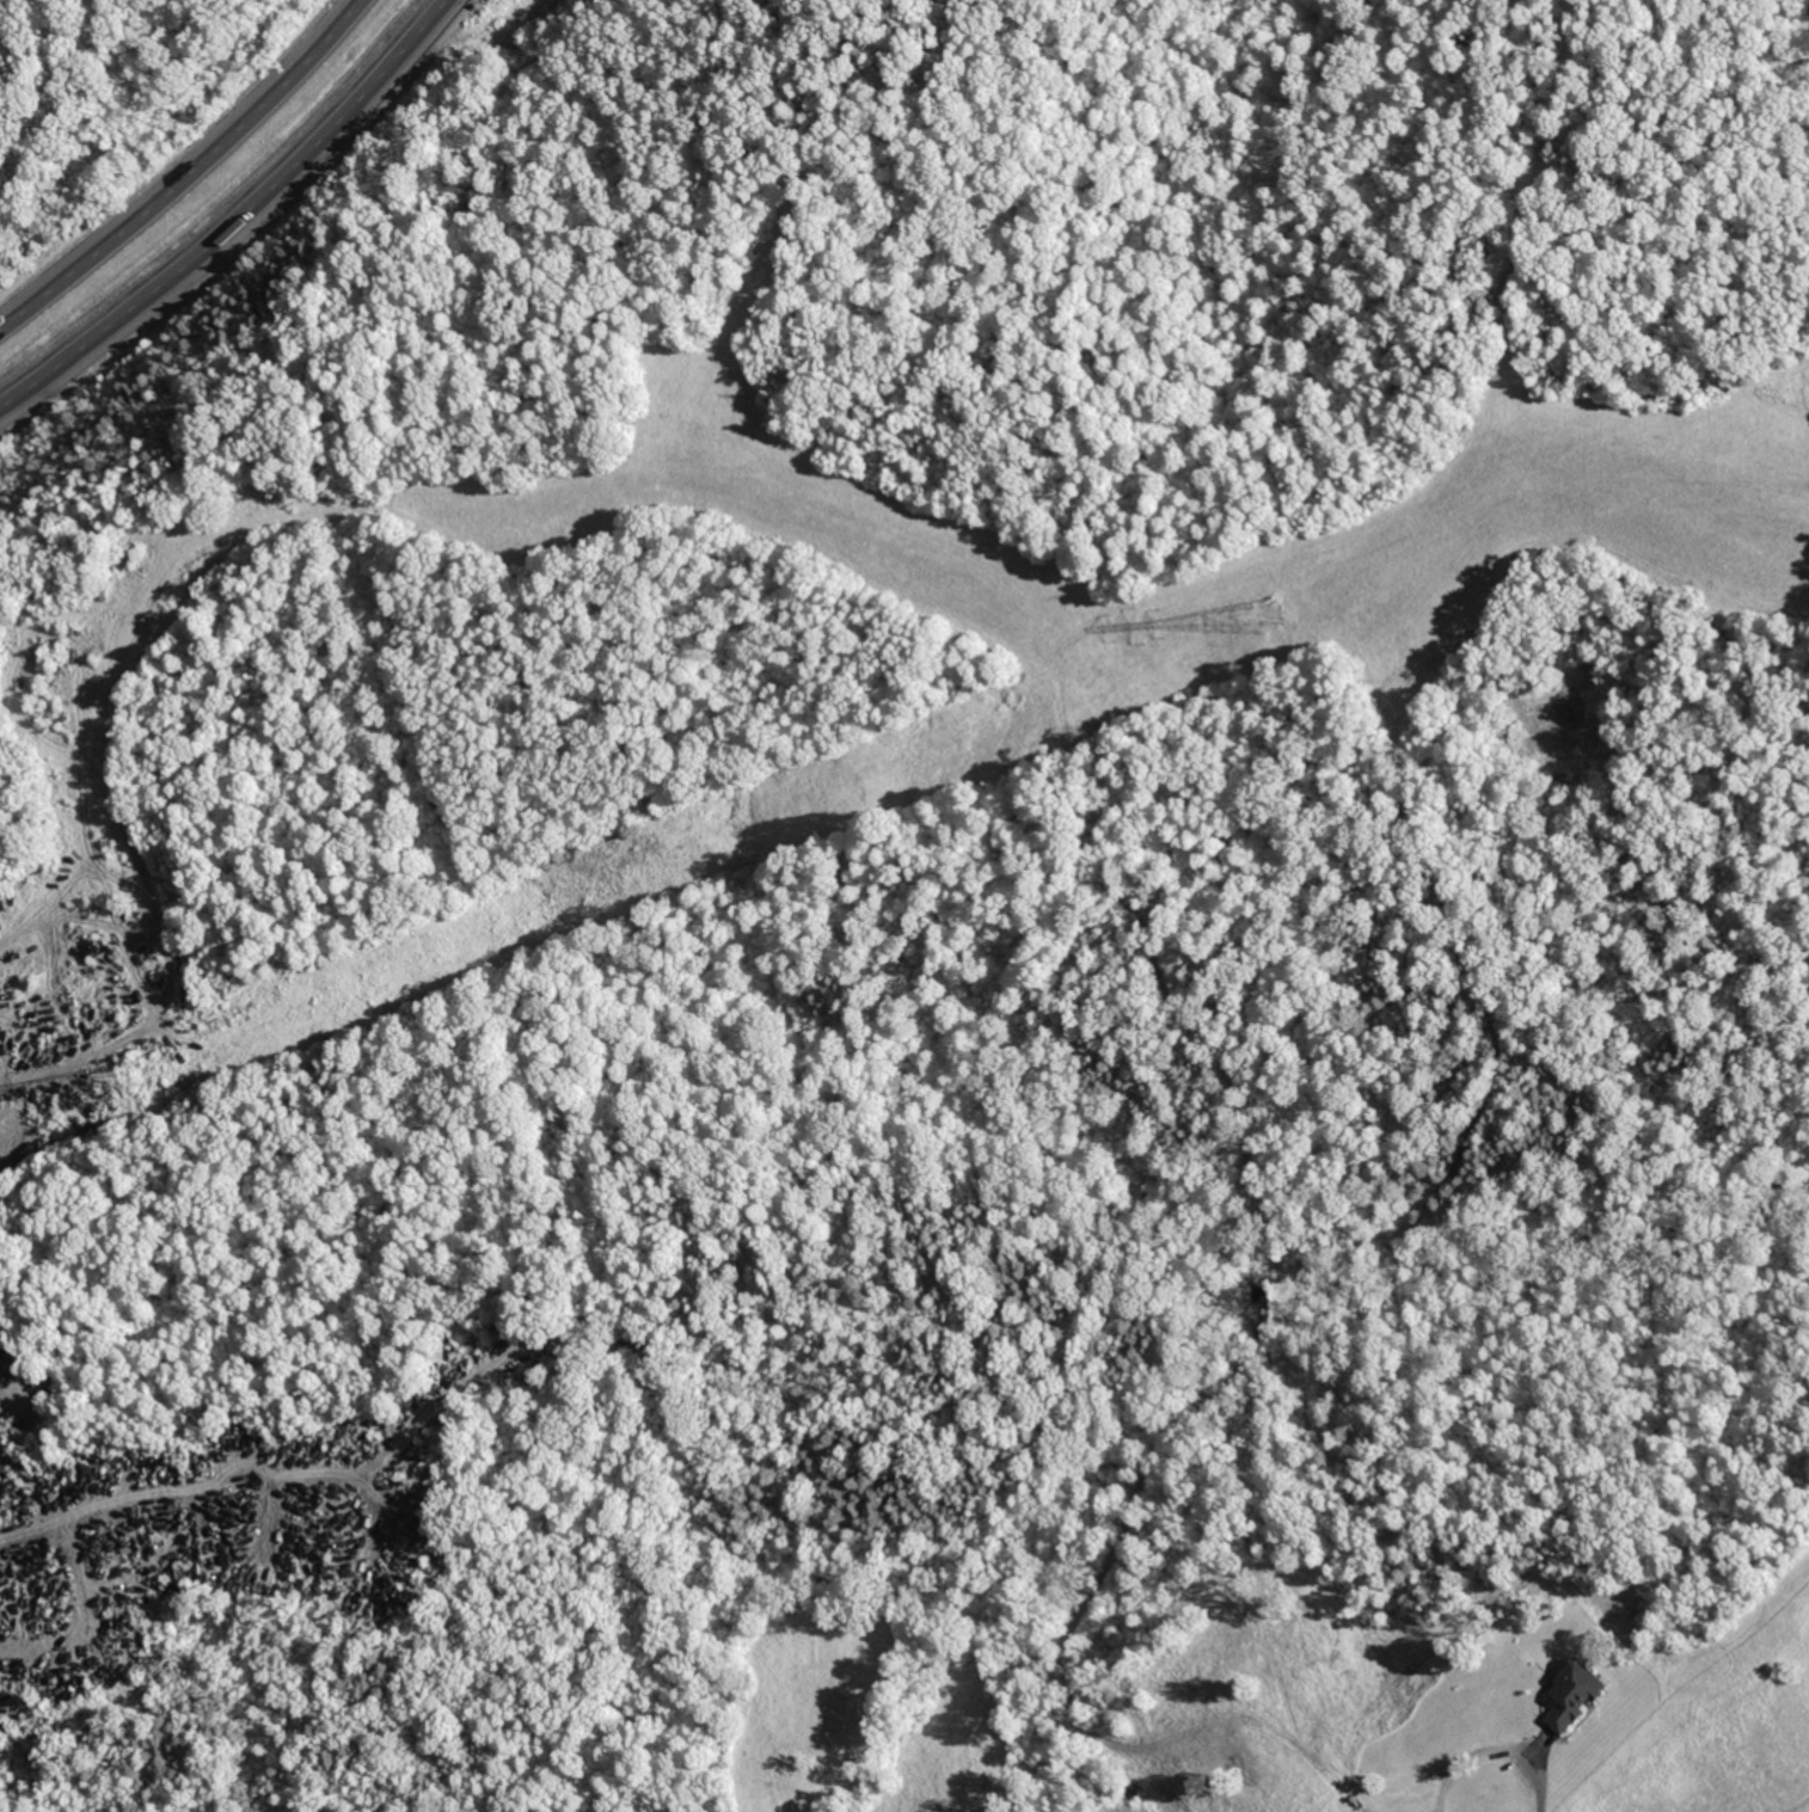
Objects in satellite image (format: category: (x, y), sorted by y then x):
road: (182, 165)
road: (238, 221)
power tower: (1276, 614)
power tower: (145, 1076)
building: (1581, 1695)
road: (1540, 1783)

